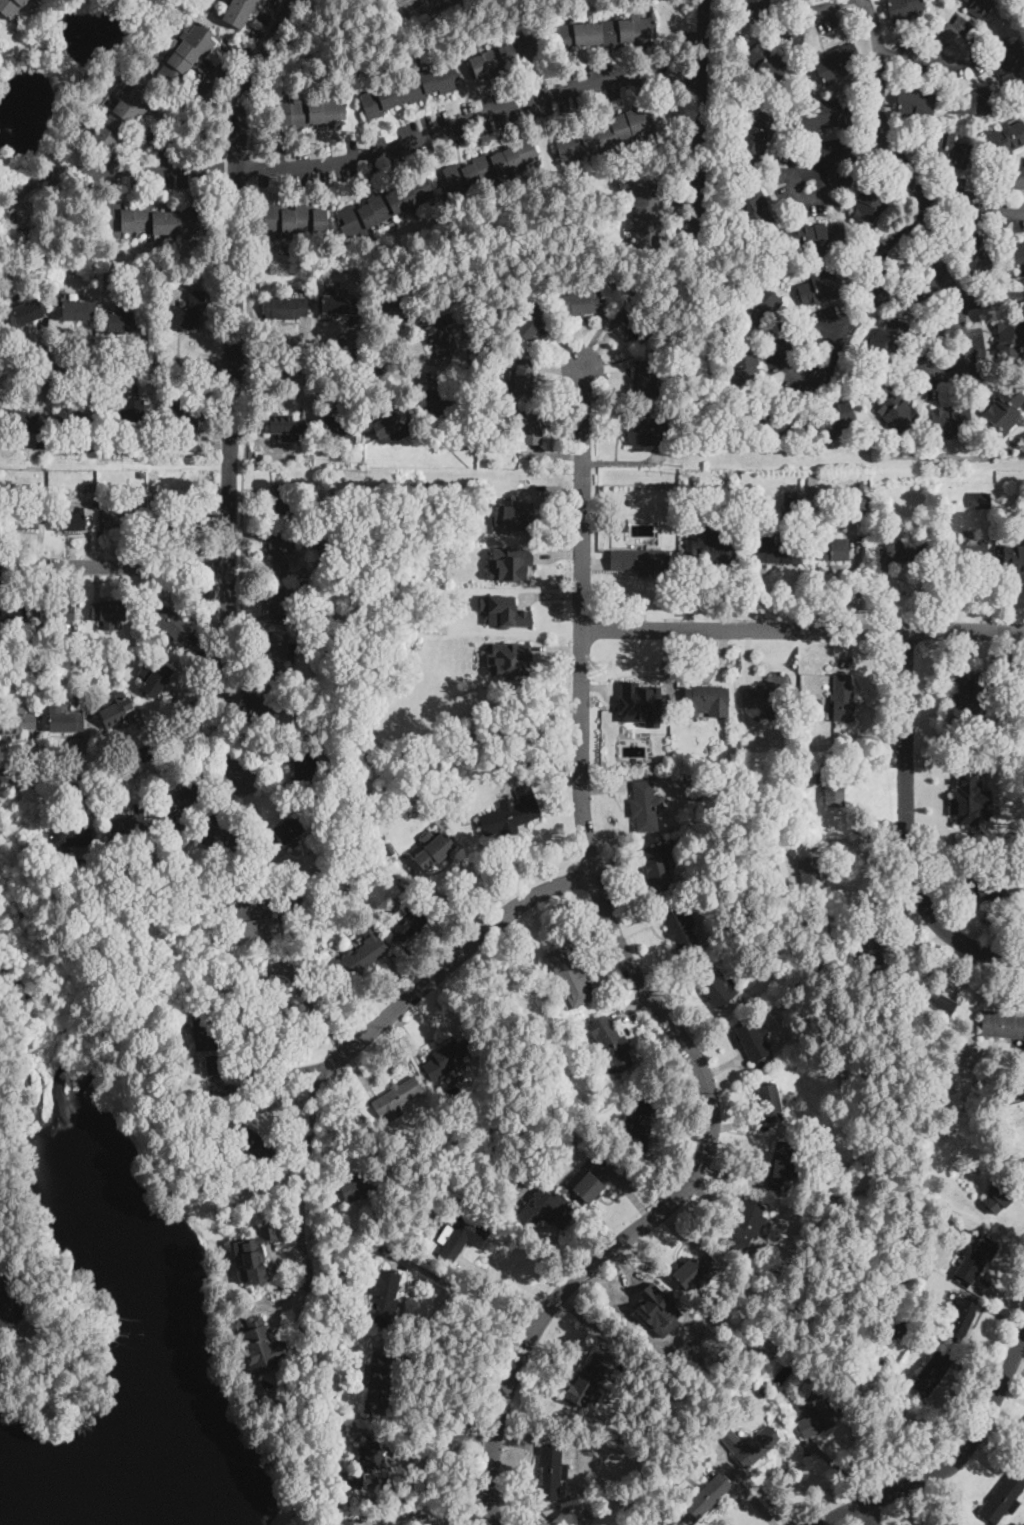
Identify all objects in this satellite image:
building: (952, 0)
building: (966, 0)
building: (10, 7)
building: (979, 8)
building: (757, 9)
road: (815, 10)
building: (904, 10)
building: (239, 12)
building: (606, 33)
road: (917, 53)
building: (186, 55)
building: (506, 58)
building: (768, 62)
building: (1009, 62)
building: (836, 63)
road: (272, 75)
building: (411, 89)
road: (195, 91)
building: (914, 101)
building: (975, 102)
road: (700, 106)
building: (311, 112)
building: (124, 115)
building: (825, 116)
road: (882, 117)
building: (604, 136)
building: (1005, 139)
road: (389, 141)
building: (756, 141)
building: (949, 151)
road: (837, 158)
building: (489, 167)
road: (250, 168)
road: (974, 196)
building: (869, 203)
building: (384, 205)
building: (756, 212)
building: (647, 215)
building: (147, 219)
building: (292, 219)
road: (926, 227)
building: (24, 234)
building: (815, 237)
road: (883, 244)
road: (936, 251)
building: (976, 251)
building: (1018, 254)
road: (248, 266)
building: (820, 287)
road: (917, 292)
building: (526, 293)
road: (975, 299)
building: (582, 301)
building: (338, 303)
building: (758, 304)
building: (388, 305)
road: (863, 305)
building: (286, 308)
building: (77, 310)
building: (28, 312)
building: (185, 313)
road: (961, 314)
building: (123, 322)
building: (526, 322)
building: (636, 329)
building: (438, 334)
building: (1010, 339)
building: (888, 340)
road: (247, 363)
road: (210, 365)
building: (743, 368)
road: (956, 368)
building: (522, 379)
building: (647, 380)
building: (441, 401)
building: (1005, 409)
building: (896, 411)
building: (126, 413)
building: (180, 414)
building: (72, 419)
building: (22, 420)
building: (833, 420)
building: (951, 420)
building: (770, 421)
building: (389, 423)
building: (282, 426)
building: (340, 426)
building: (530, 426)
building: (642, 429)
building: (84, 437)
building: (91, 452)
road: (229, 459)
power tower: (363, 466)
power tower: (679, 468)
building: (141, 473)
building: (87, 489)
building: (694, 490)
building: (980, 500)
building: (861, 501)
building: (815, 503)
building: (789, 505)
building: (692, 506)
building: (281, 510)
building: (923, 511)
building: (513, 516)
building: (122, 517)
building: (179, 517)
building: (21, 519)
building: (69, 520)
building: (623, 527)
building: (319, 542)
building: (426, 544)
building: (901, 549)
building: (710, 550)
building: (832, 550)
building: (774, 551)
building: (278, 554)
building: (966, 554)
road: (240, 555)
building: (1013, 558)
building: (640, 561)
building: (509, 562)
road: (383, 566)
road: (113, 567)
building: (330, 597)
building: (278, 601)
building: (504, 611)
building: (108, 612)
building: (56, 616)
building: (12, 618)
building: (407, 619)
building: (168, 622)
road: (802, 630)
park: (410, 631)
building: (277, 647)
building: (323, 648)
building: (62, 649)
building: (30, 653)
building: (507, 657)
building: (113, 661)
building: (37, 674)
building: (157, 680)
building: (769, 696)
building: (841, 698)
building: (963, 698)
building: (706, 701)
building: (639, 702)
building: (255, 705)
building: (116, 710)
building: (65, 720)
building: (16, 722)
building: (1023, 724)
road: (361, 729)
road: (193, 734)
road: (212, 749)
building: (514, 760)
building: (706, 762)
building: (304, 769)
building: (1002, 770)
building: (690, 780)
building: (403, 783)
building: (831, 783)
road: (99, 785)
building: (969, 789)
building: (696, 797)
building: (180, 802)
building: (644, 805)
building: (511, 814)
building: (129, 825)
building: (433, 825)
building: (779, 826)
building: (285, 832)
road: (907, 832)
building: (70, 837)
building: (259, 837)
park: (20, 838)
building: (224, 838)
building: (433, 849)
building: (714, 850)
road: (845, 850)
building: (333, 857)
building: (658, 864)
building: (184, 866)
building: (274, 868)
building: (319, 869)
building: (50, 874)
building: (148, 876)
building: (811, 877)
building: (992, 888)
building: (312, 889)
building: (287, 895)
building: (777, 901)
building: (409, 921)
building: (250, 922)
building: (680, 929)
building: (872, 950)
building: (362, 955)
road: (449, 965)
building: (127, 967)
building: (568, 977)
building: (720, 987)
road: (646, 990)
road: (308, 998)
building: (931, 1000)
building: (1003, 1025)
building: (207, 1032)
building: (752, 1039)
building: (611, 1044)
building: (447, 1059)
building: (216, 1065)
building: (397, 1099)
building: (769, 1103)
building: (1019, 1111)
building: (639, 1124)
building: (255, 1144)
building: (995, 1152)
building: (781, 1167)
building: (386, 1178)
building: (591, 1179)
road: (304, 1184)
building: (357, 1187)
building: (1001, 1194)
building: (547, 1209)
building: (746, 1225)
building: (955, 1227)
building: (462, 1238)
building: (255, 1253)
building: (975, 1258)
building: (695, 1271)
road: (506, 1285)
park: (102, 1286)
road: (36, 1289)
building: (384, 1295)
road: (470, 1298)
building: (645, 1301)
building: (326, 1308)
building: (8, 1309)
building: (884, 1312)
building: (960, 1319)
building: (898, 1328)
building: (264, 1347)
building: (885, 1361)
building: (932, 1372)
building: (587, 1383)
building: (378, 1385)
building: (763, 1391)
building: (816, 1421)
building: (748, 1446)
building: (371, 1454)
building: (1023, 1454)
road: (432, 1456)
road: (954, 1461)
building: (550, 1471)
road: (740, 1471)
building: (356, 1479)
building: (705, 1497)
building: (1002, 1498)
road: (284, 1509)
road: (428, 1510)
road: (870, 1514)
building: (359, 1518)
building: (571, 1518)
building: (344, 1522)

